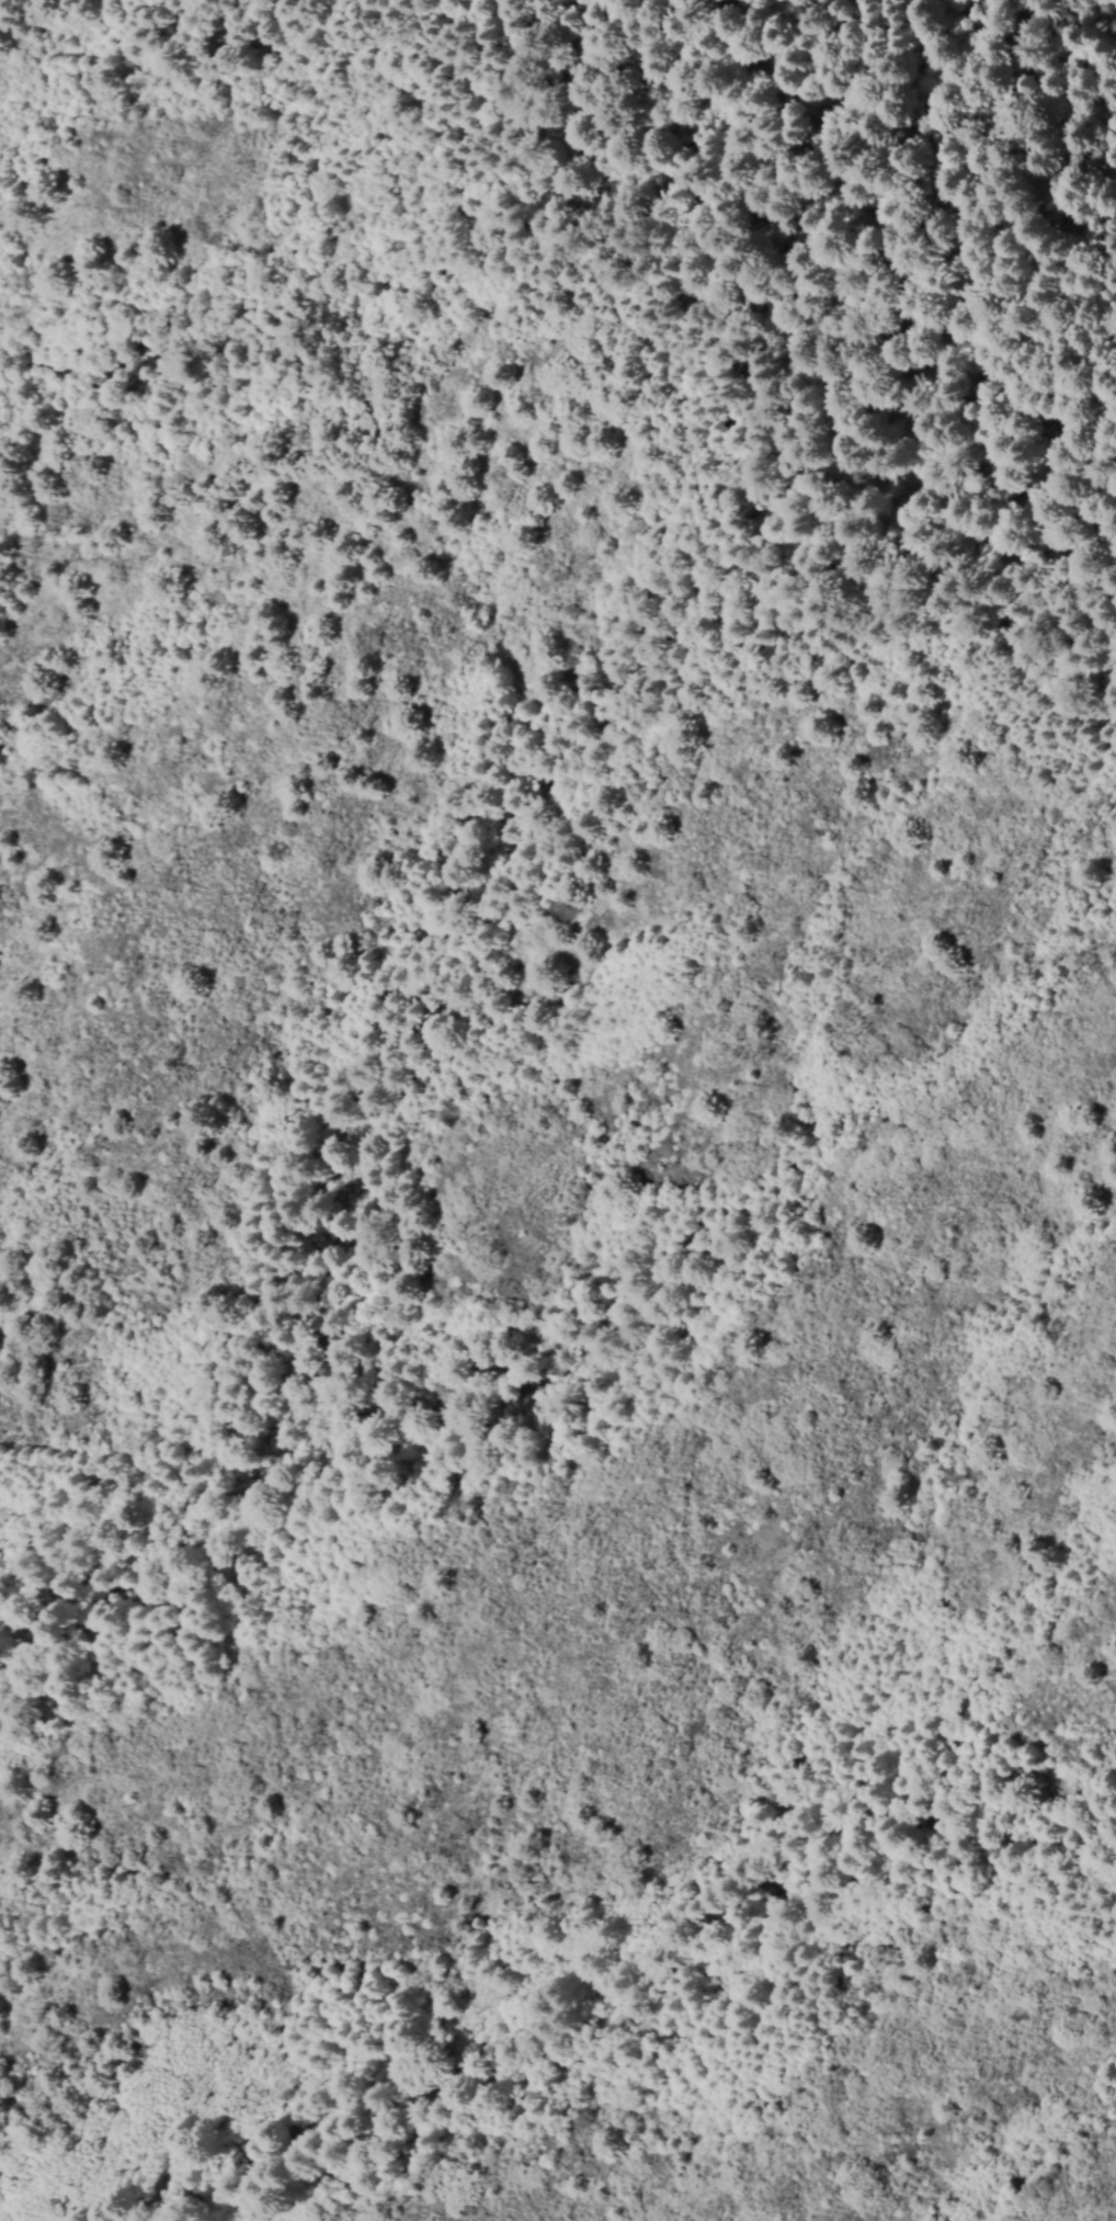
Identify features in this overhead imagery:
road: (884, 233)

